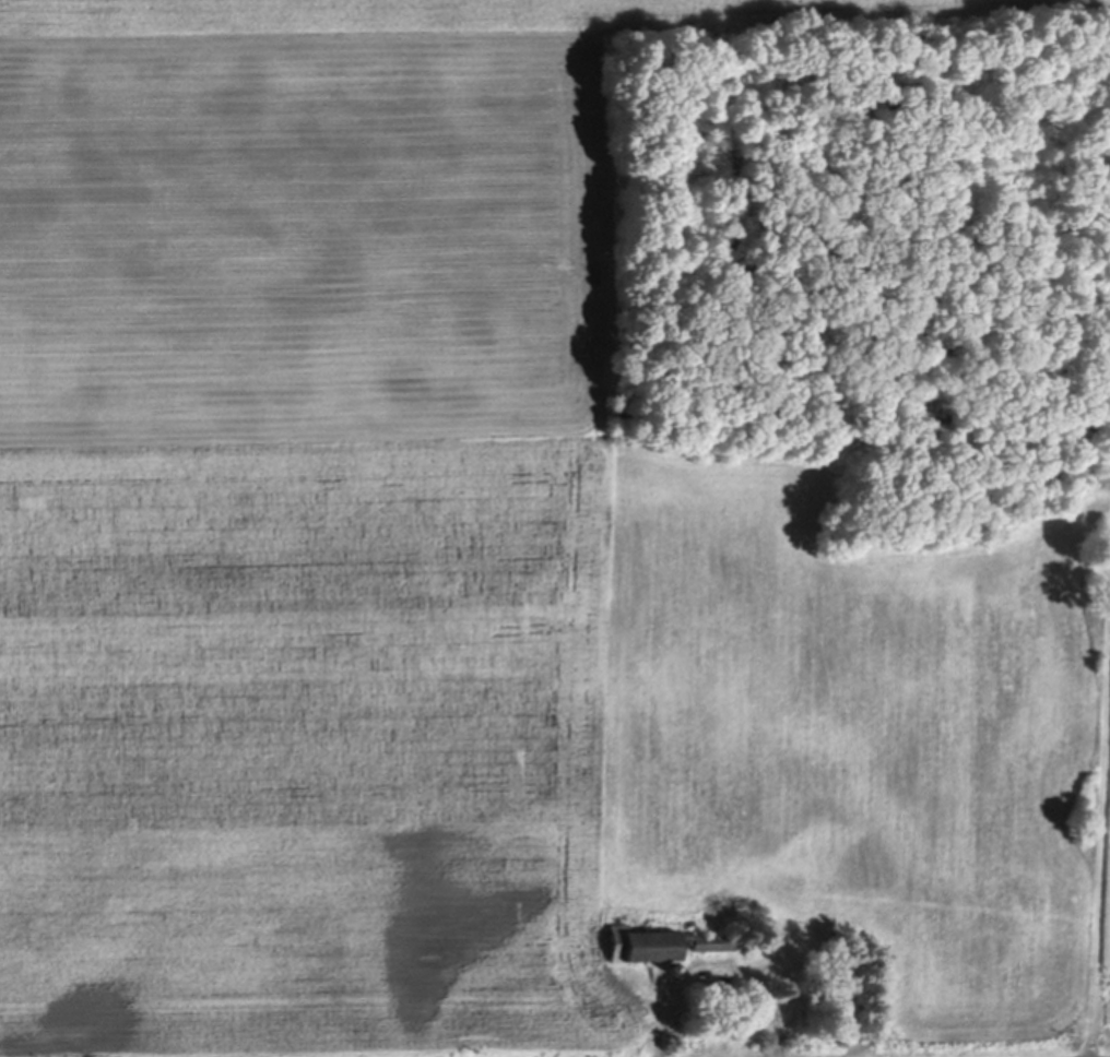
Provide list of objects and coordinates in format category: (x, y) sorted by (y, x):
building: (656, 942)
road: (660, 1028)

